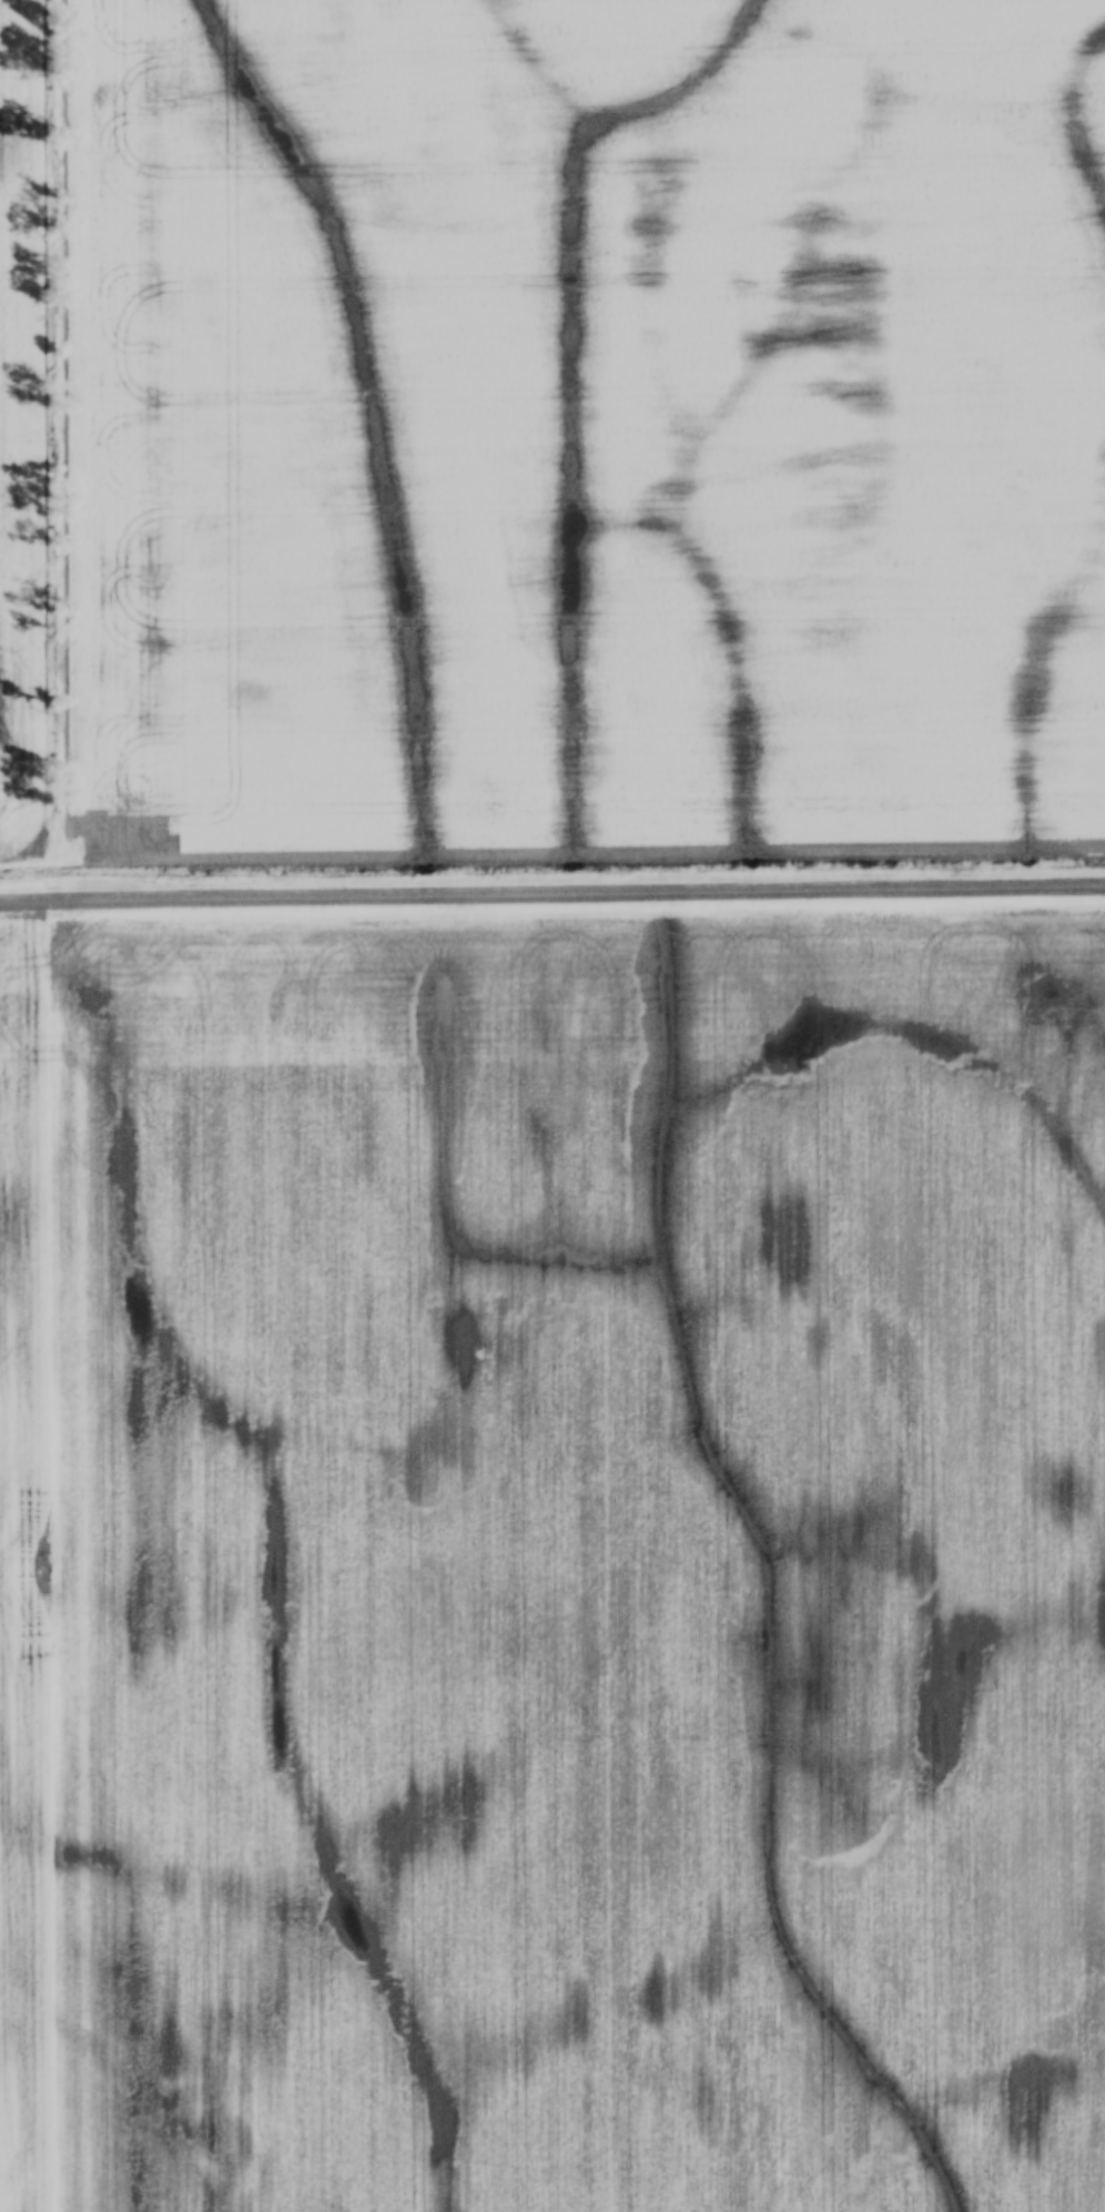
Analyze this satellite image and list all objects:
road: (552, 900)

